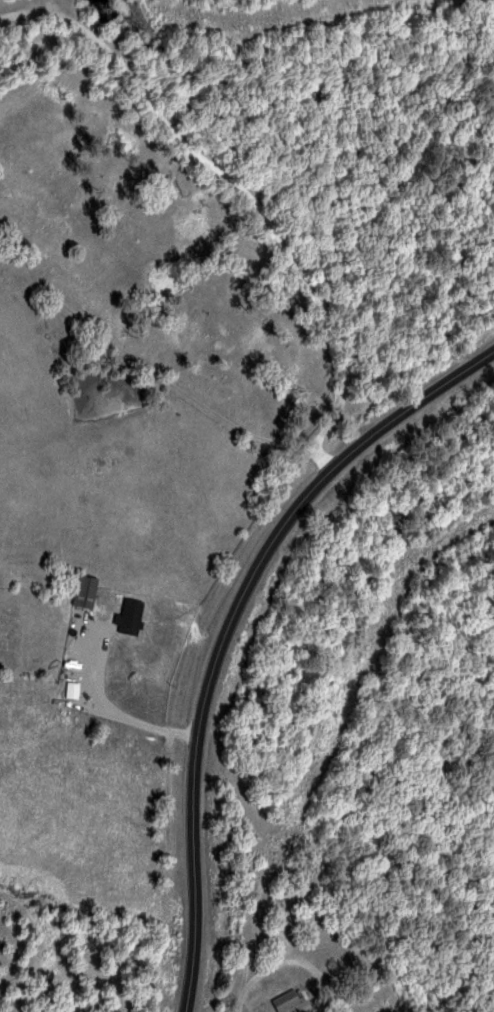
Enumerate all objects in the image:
building: (87, 591)
building: (133, 616)
road: (231, 629)
building: (76, 690)

